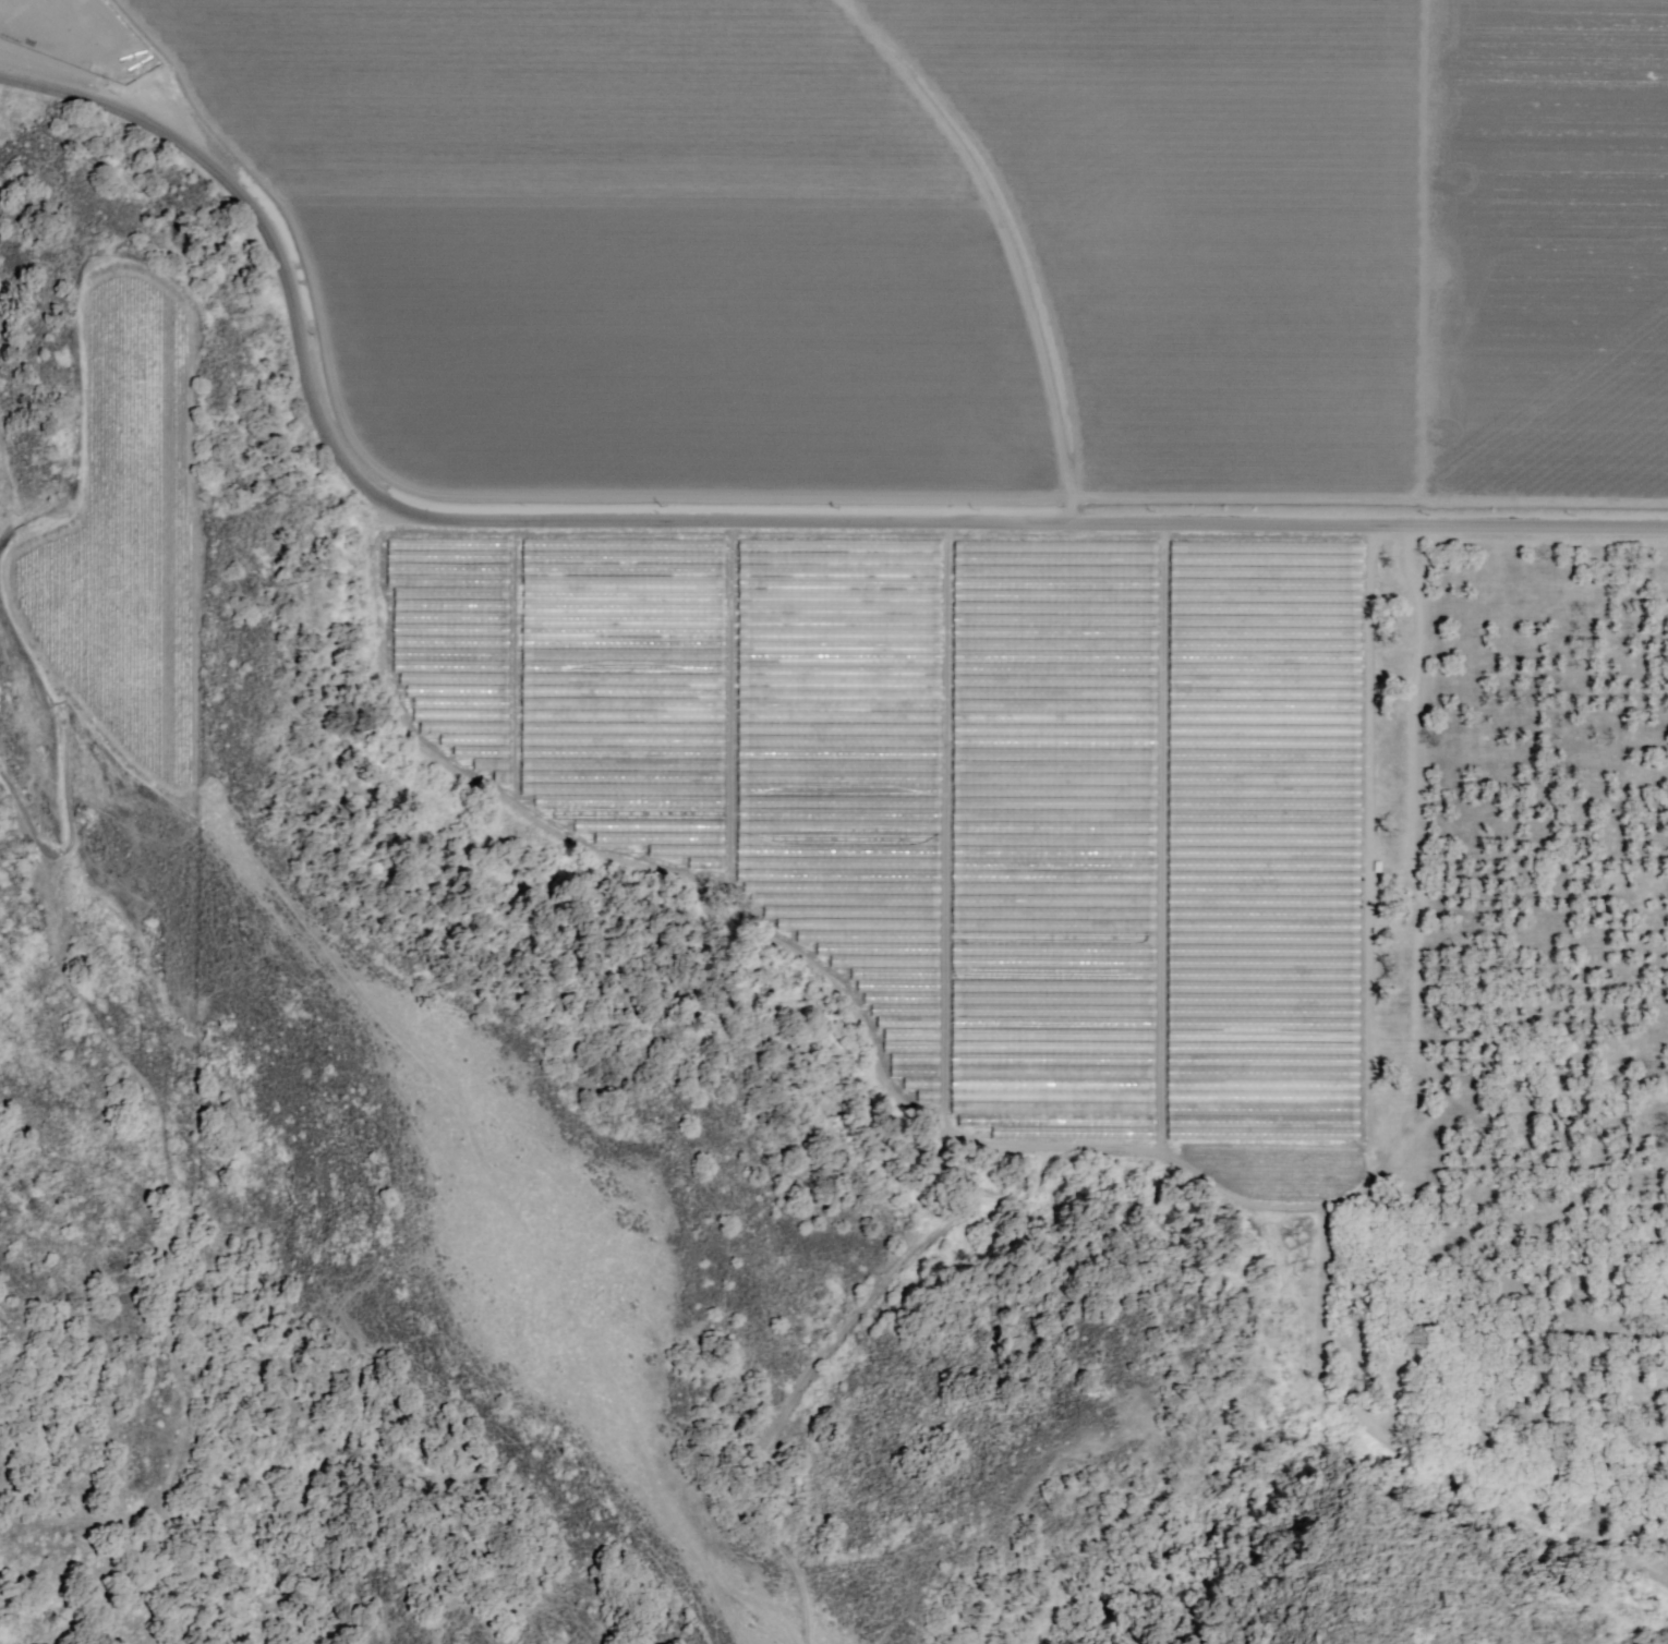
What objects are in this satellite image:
road: (712, 524)
crop: (1079, 579)

